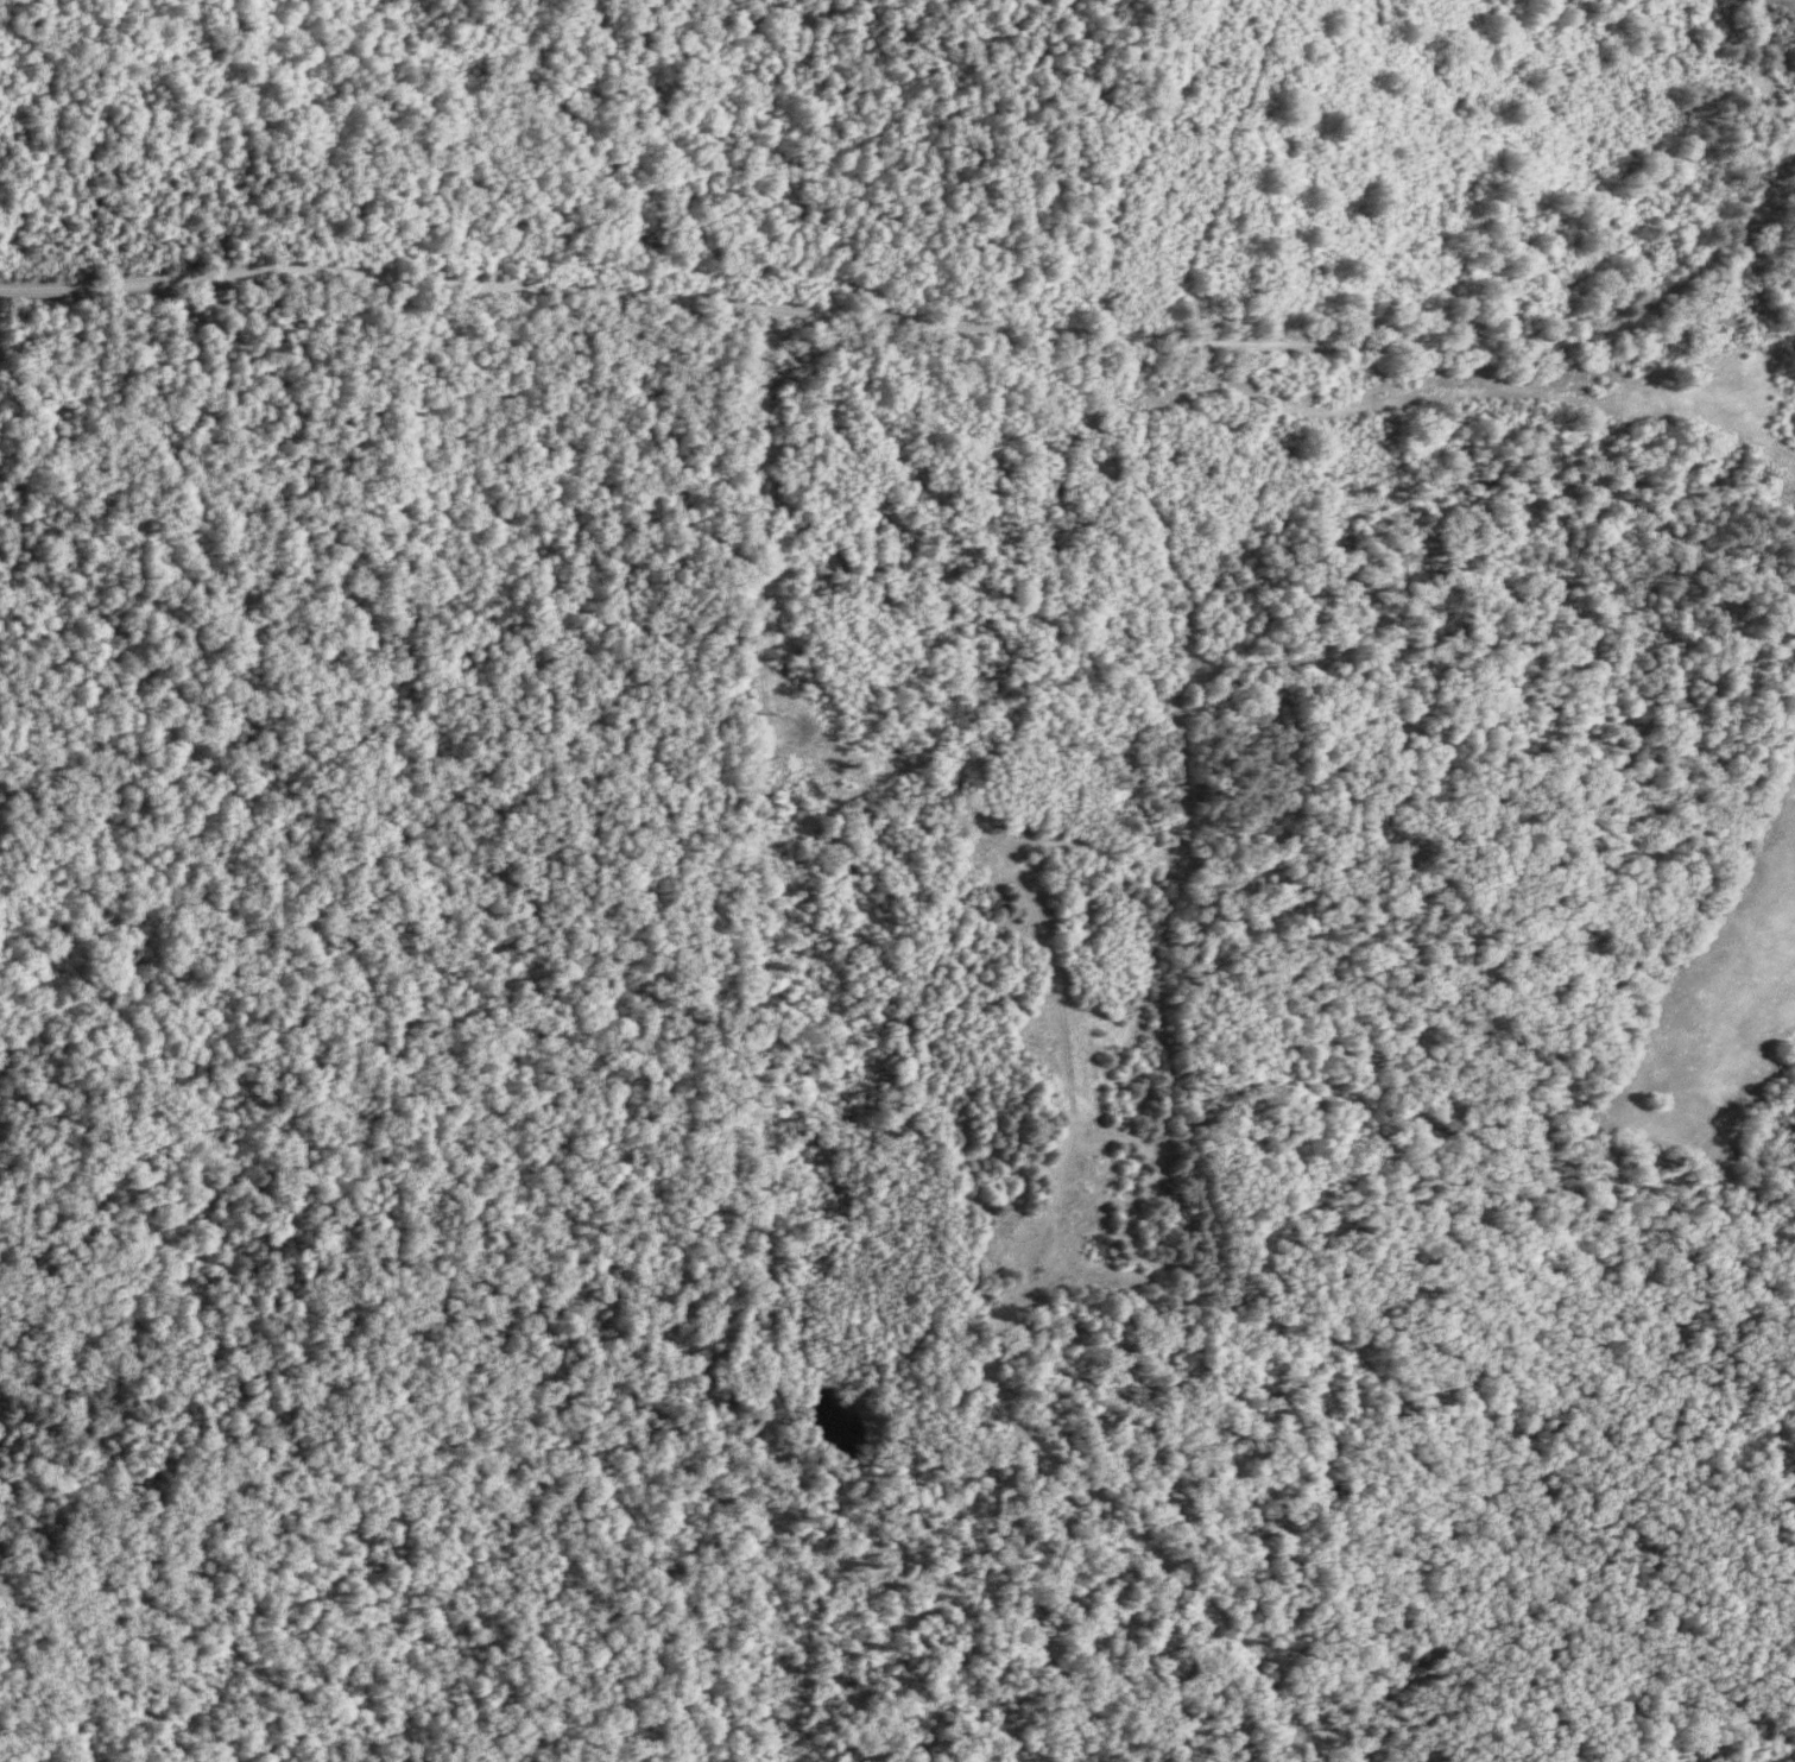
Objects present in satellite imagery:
road: (944, 324)

